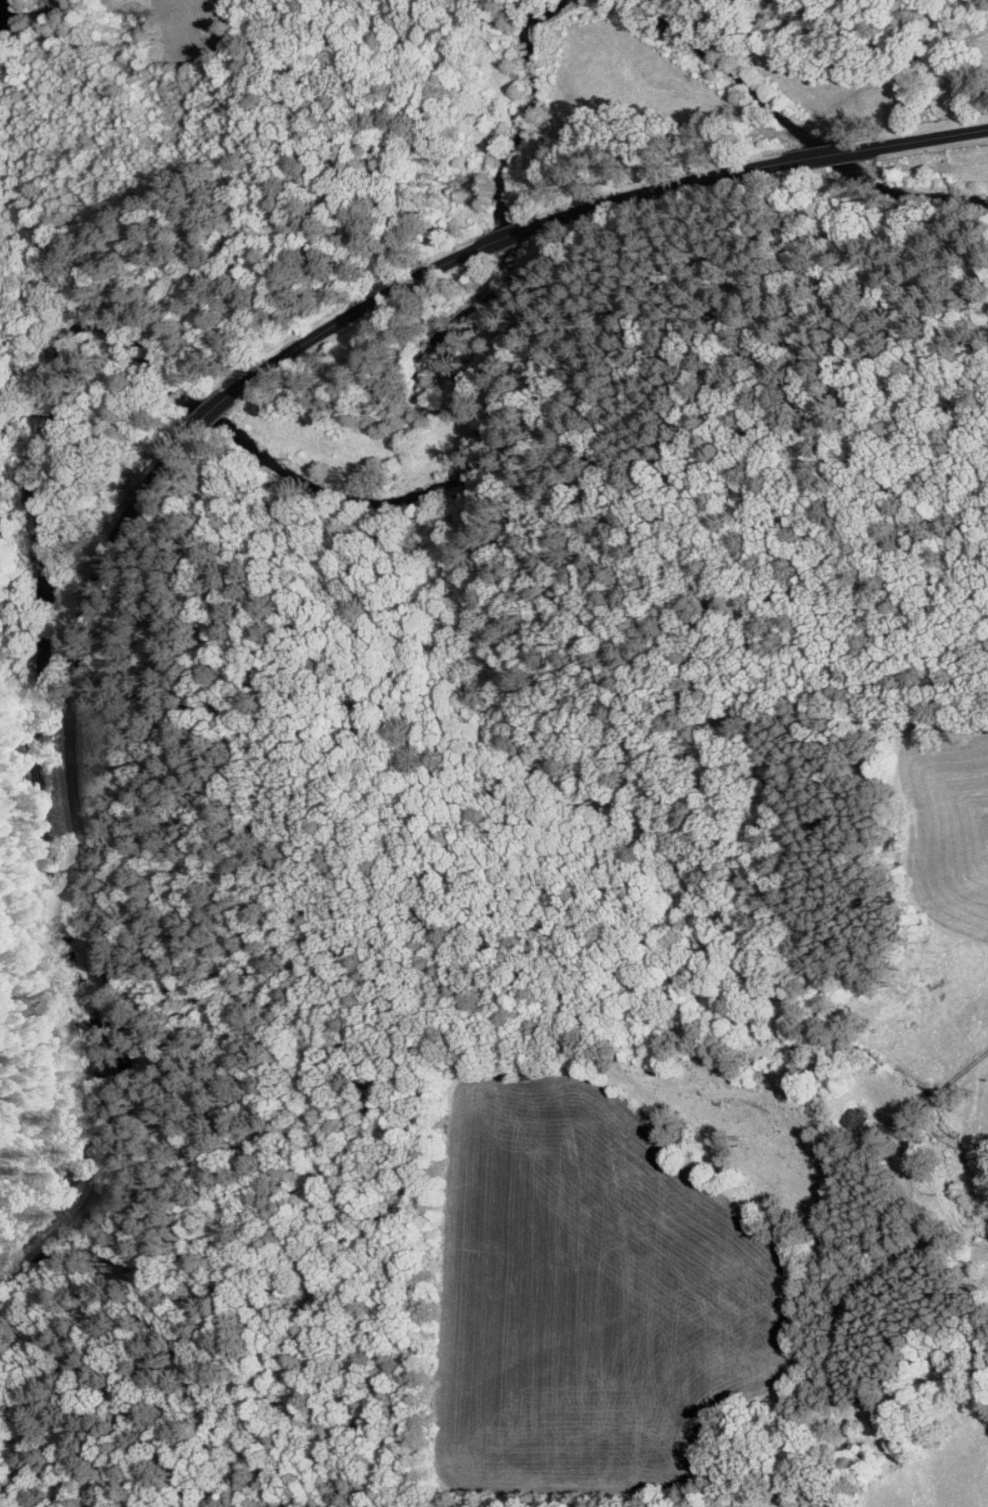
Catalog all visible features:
road: (164, 458)
road: (345, 893)
road: (945, 1087)

